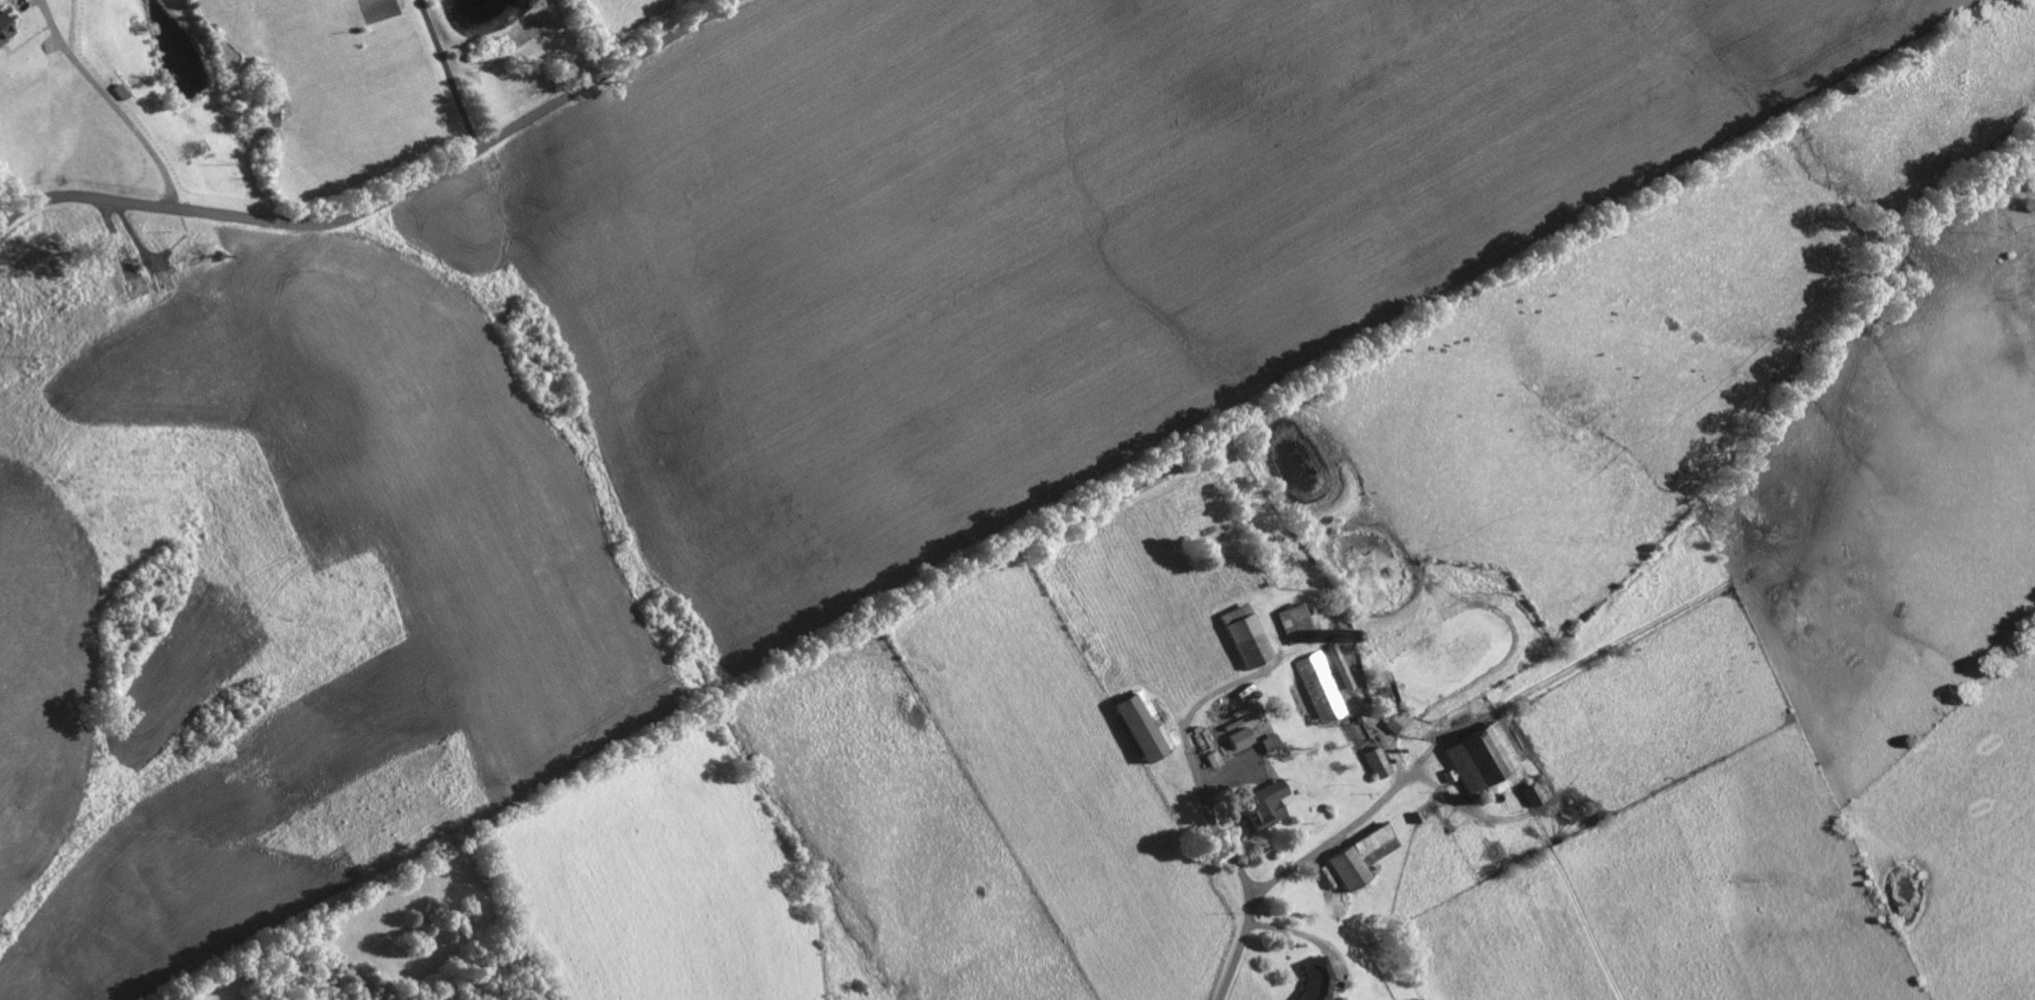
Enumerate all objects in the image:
building: (2, 27)
road: (442, 76)
road: (102, 106)
road: (386, 201)
building: (1292, 622)
building: (1243, 635)
building: (1319, 687)
building: (1142, 726)
building: (1238, 738)
building: (1267, 742)
building: (1212, 759)
building: (1483, 760)
building: (1375, 762)
building: (1534, 793)
building: (1264, 805)
road: (1346, 825)
building: (1371, 842)
building: (1347, 868)
building: (1314, 981)

